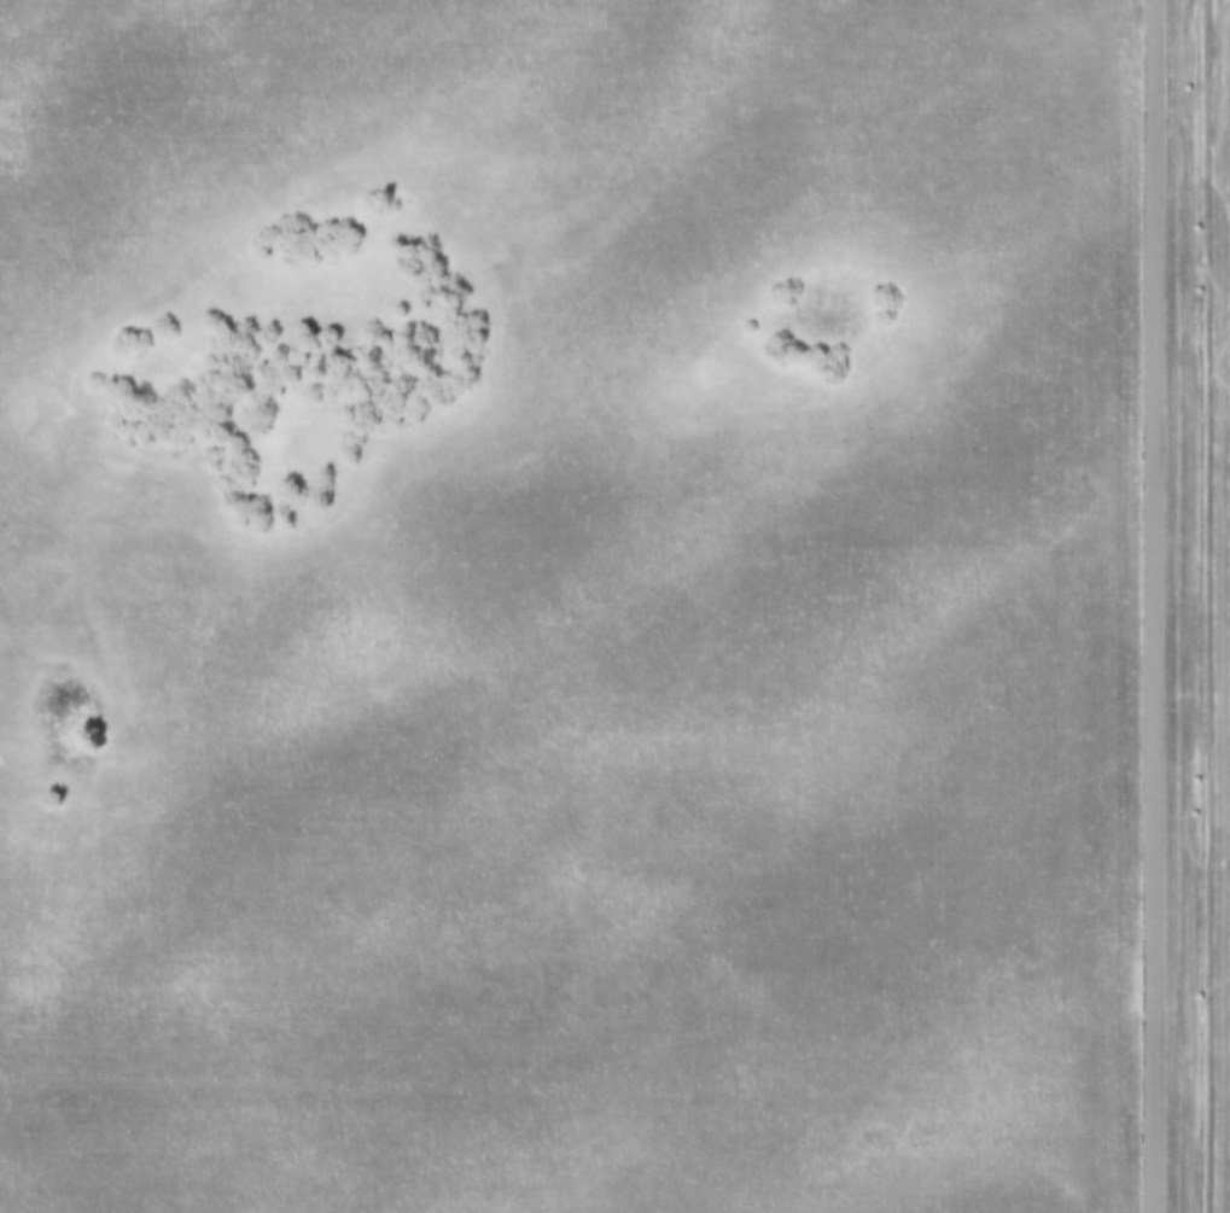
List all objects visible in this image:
road: (1156, 606)

